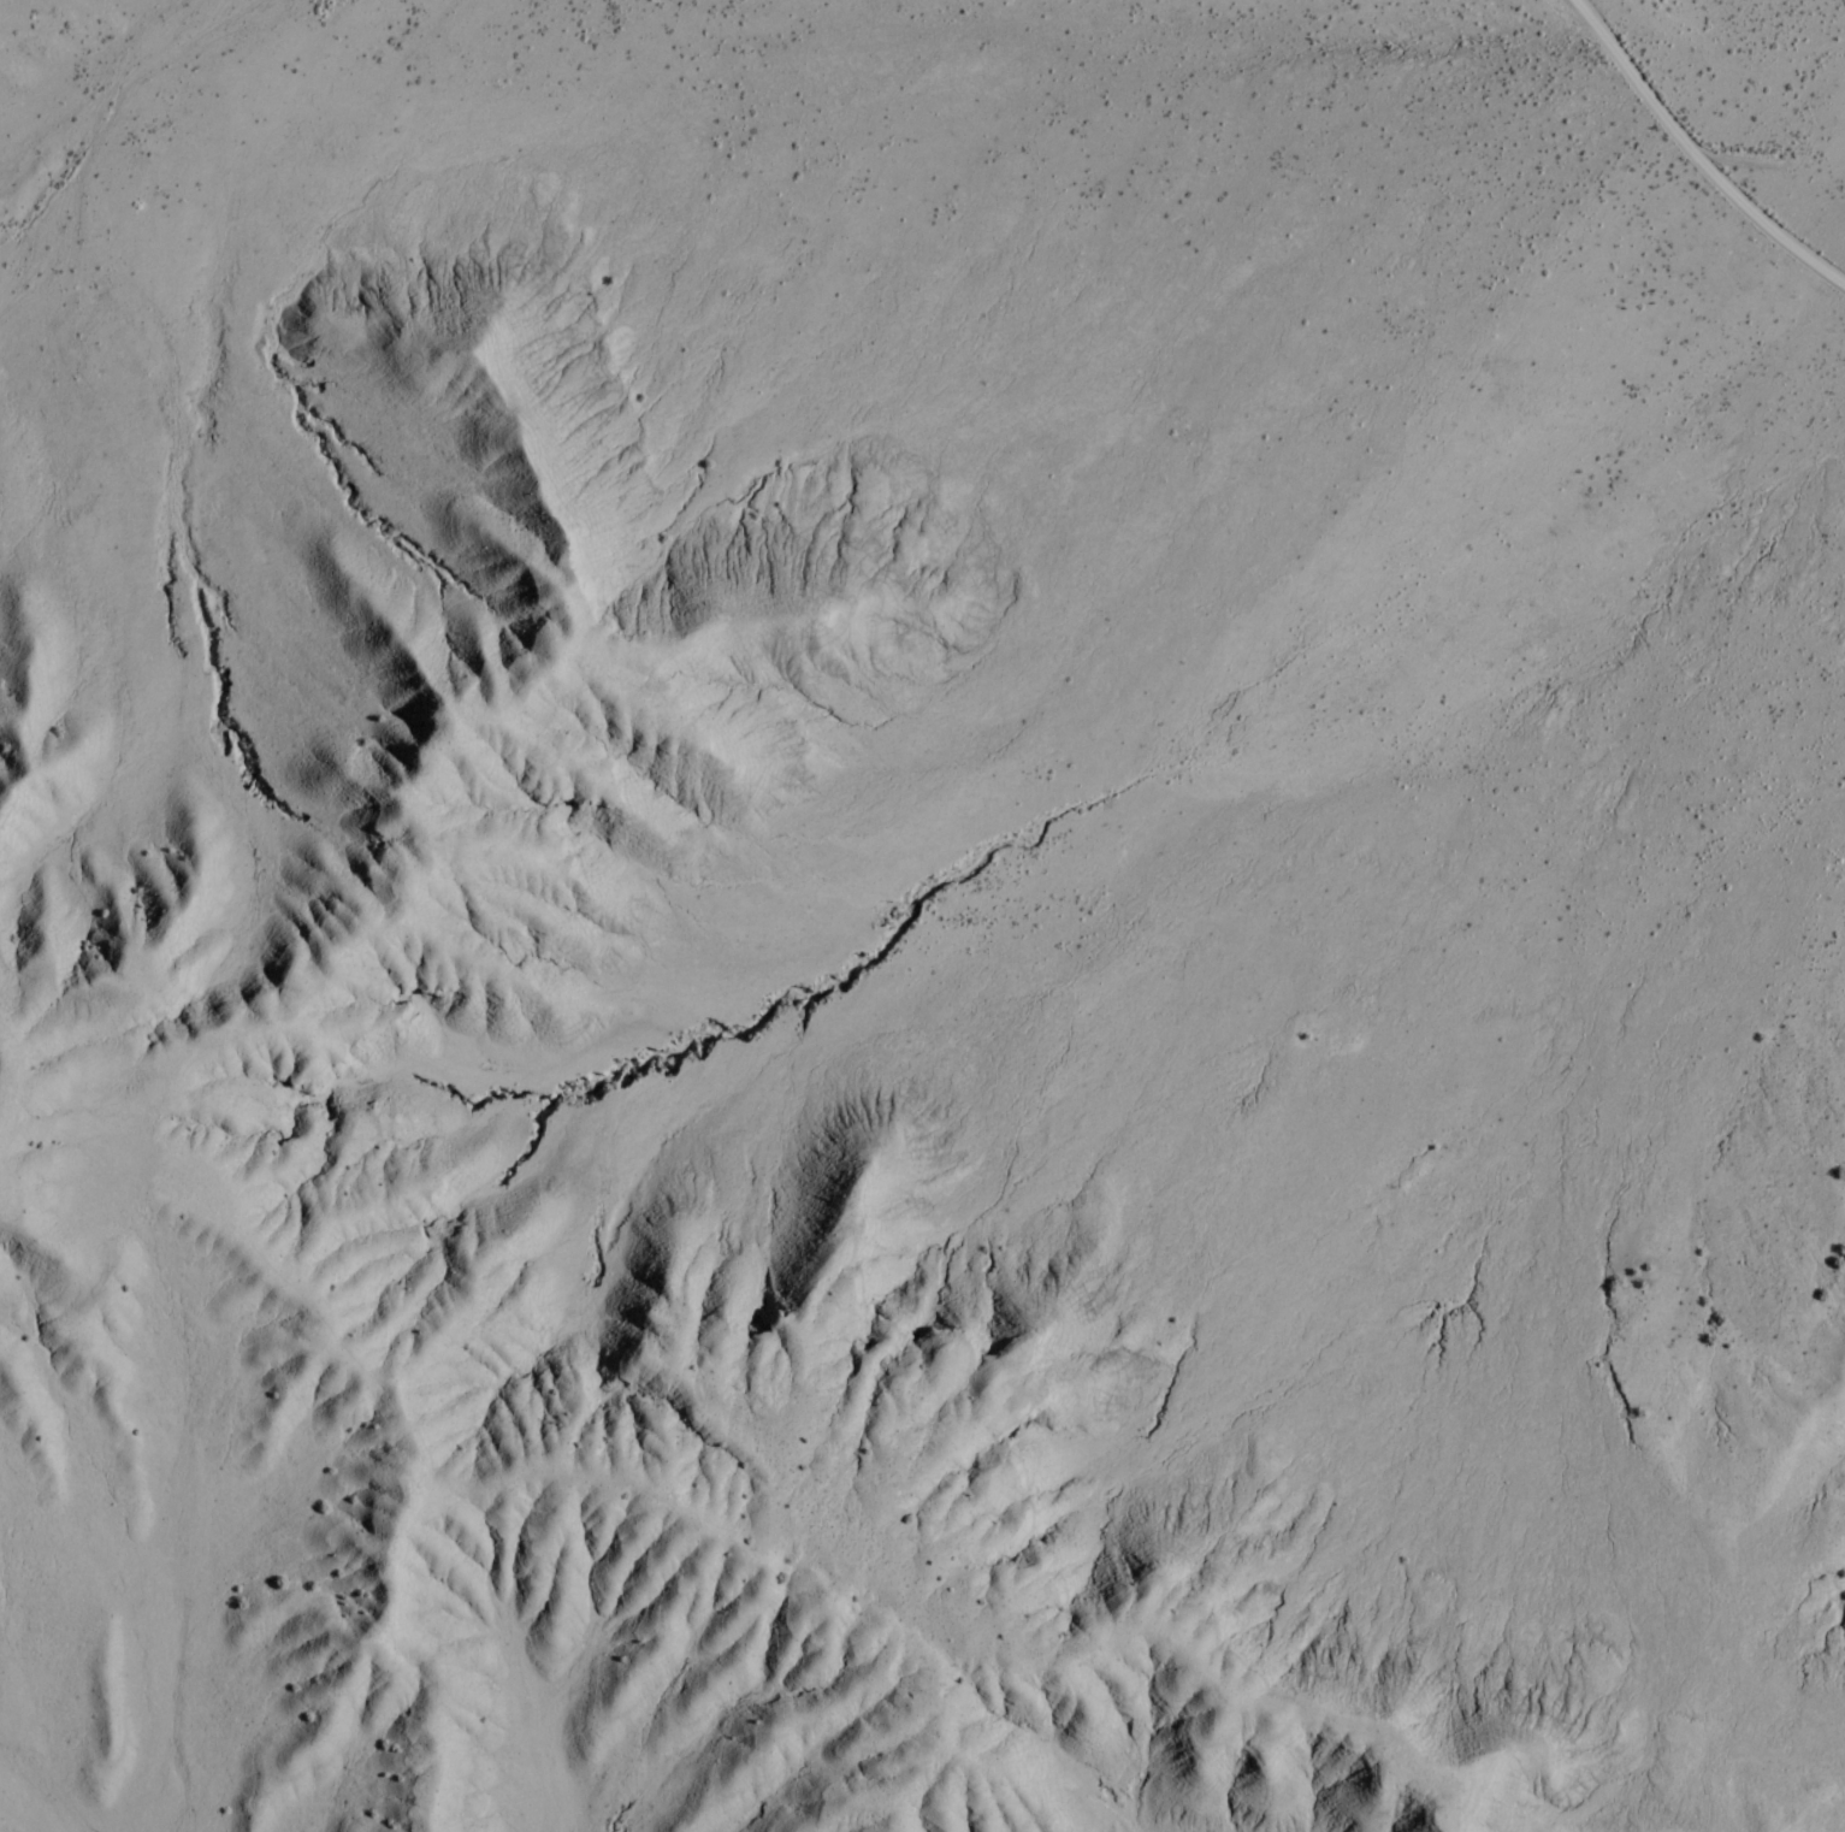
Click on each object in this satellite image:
road: (1695, 158)

